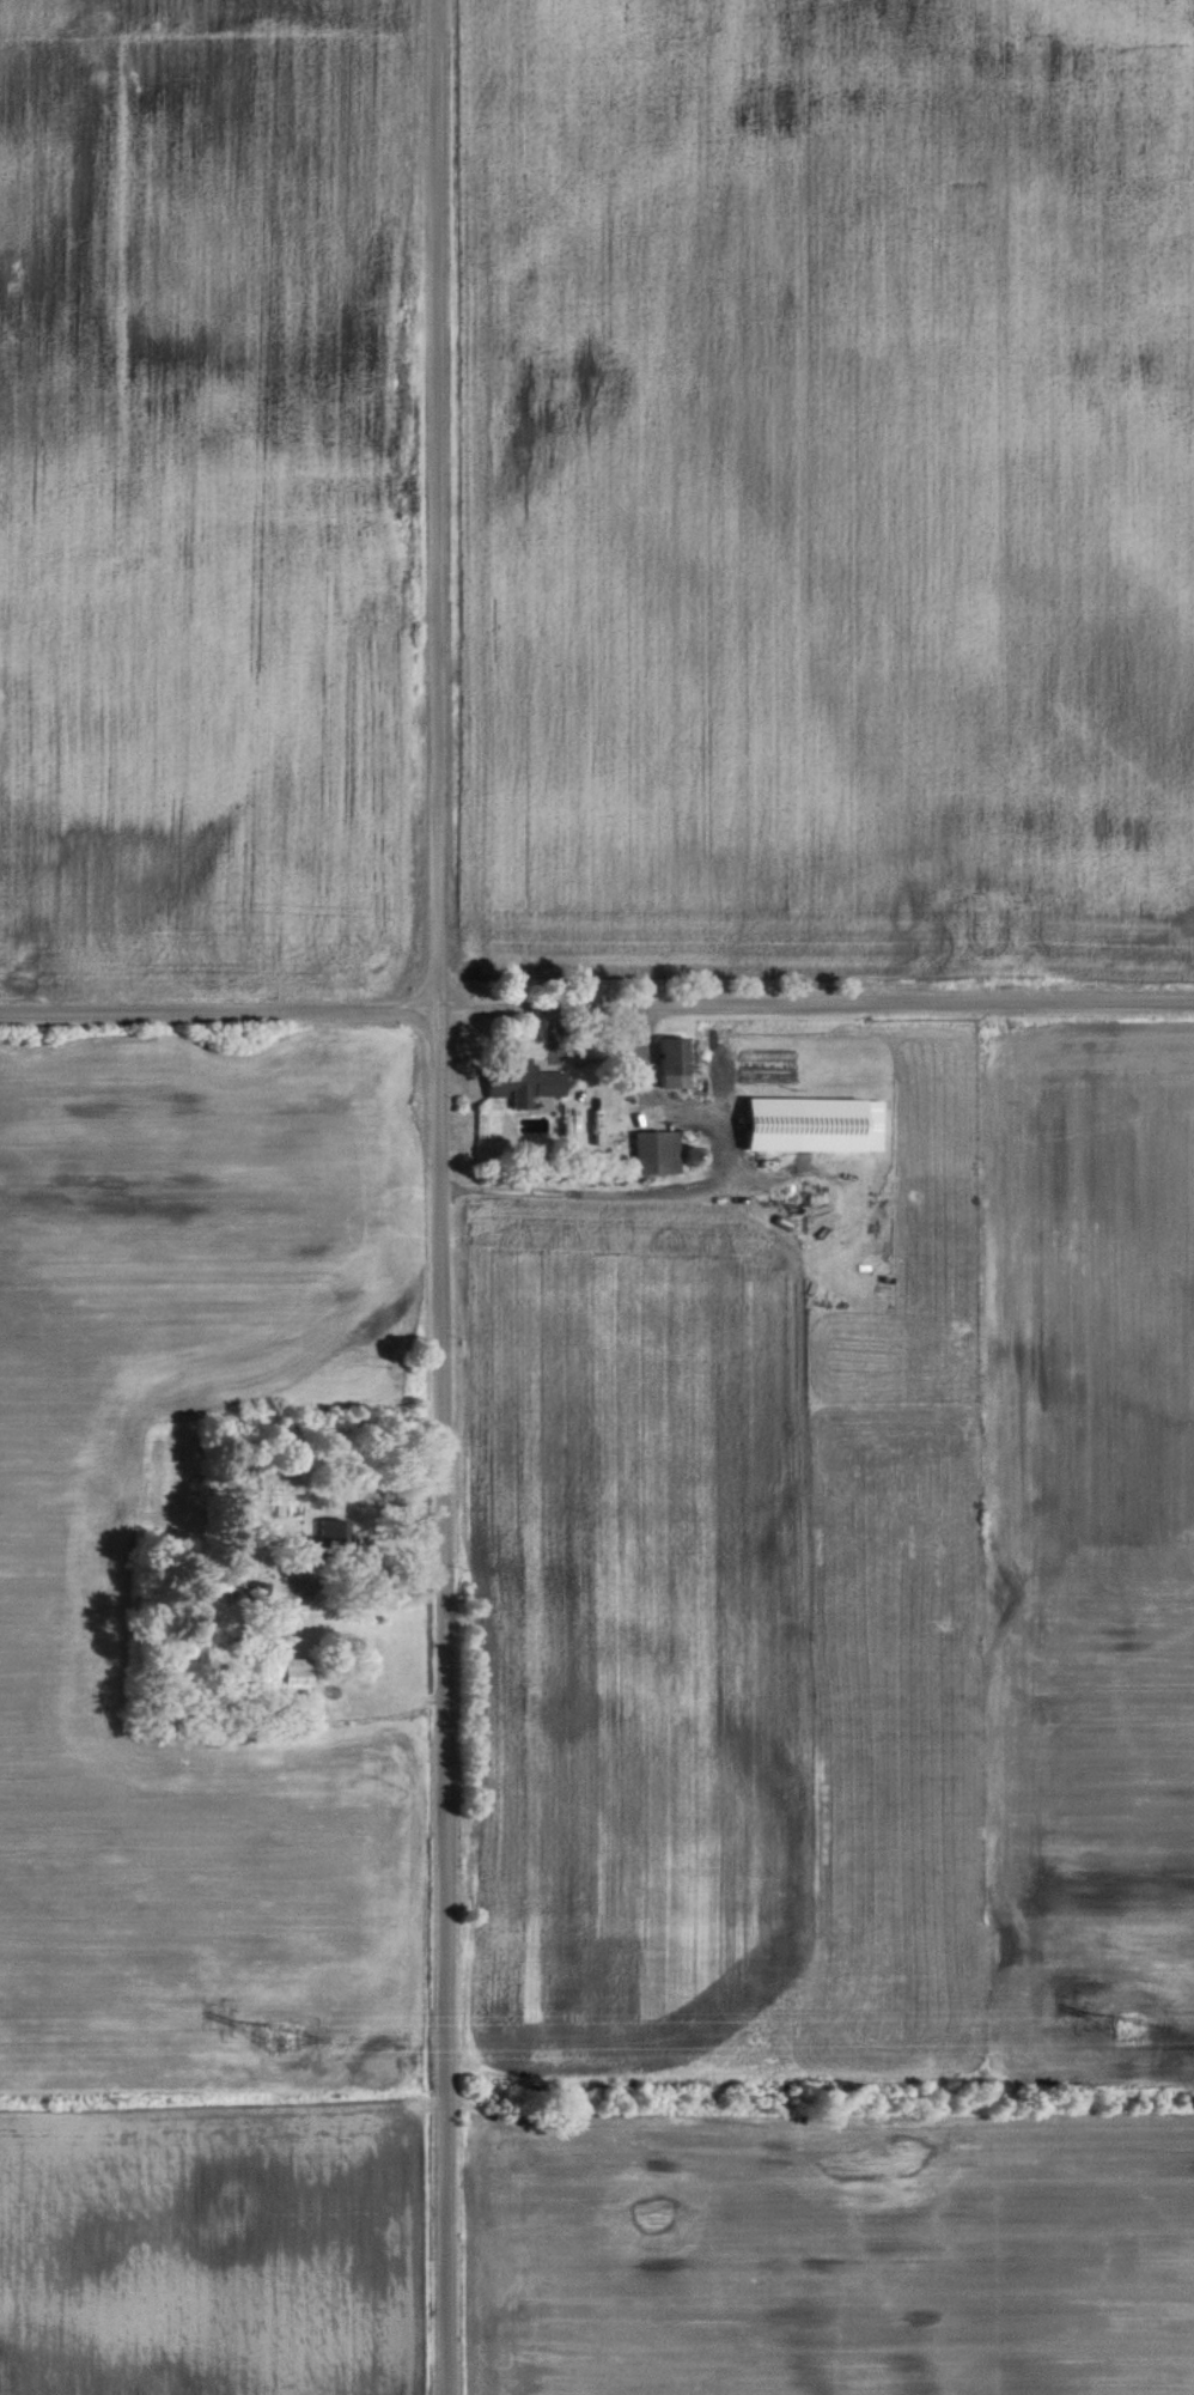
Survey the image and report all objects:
road: (597, 1010)
building: (665, 1063)
building: (519, 1082)
building: (806, 1124)
building: (652, 1151)
road: (443, 1197)
building: (325, 1528)
building: (257, 1593)
building: (284, 1674)
power tower: (1135, 2024)
power tower: (282, 2040)

